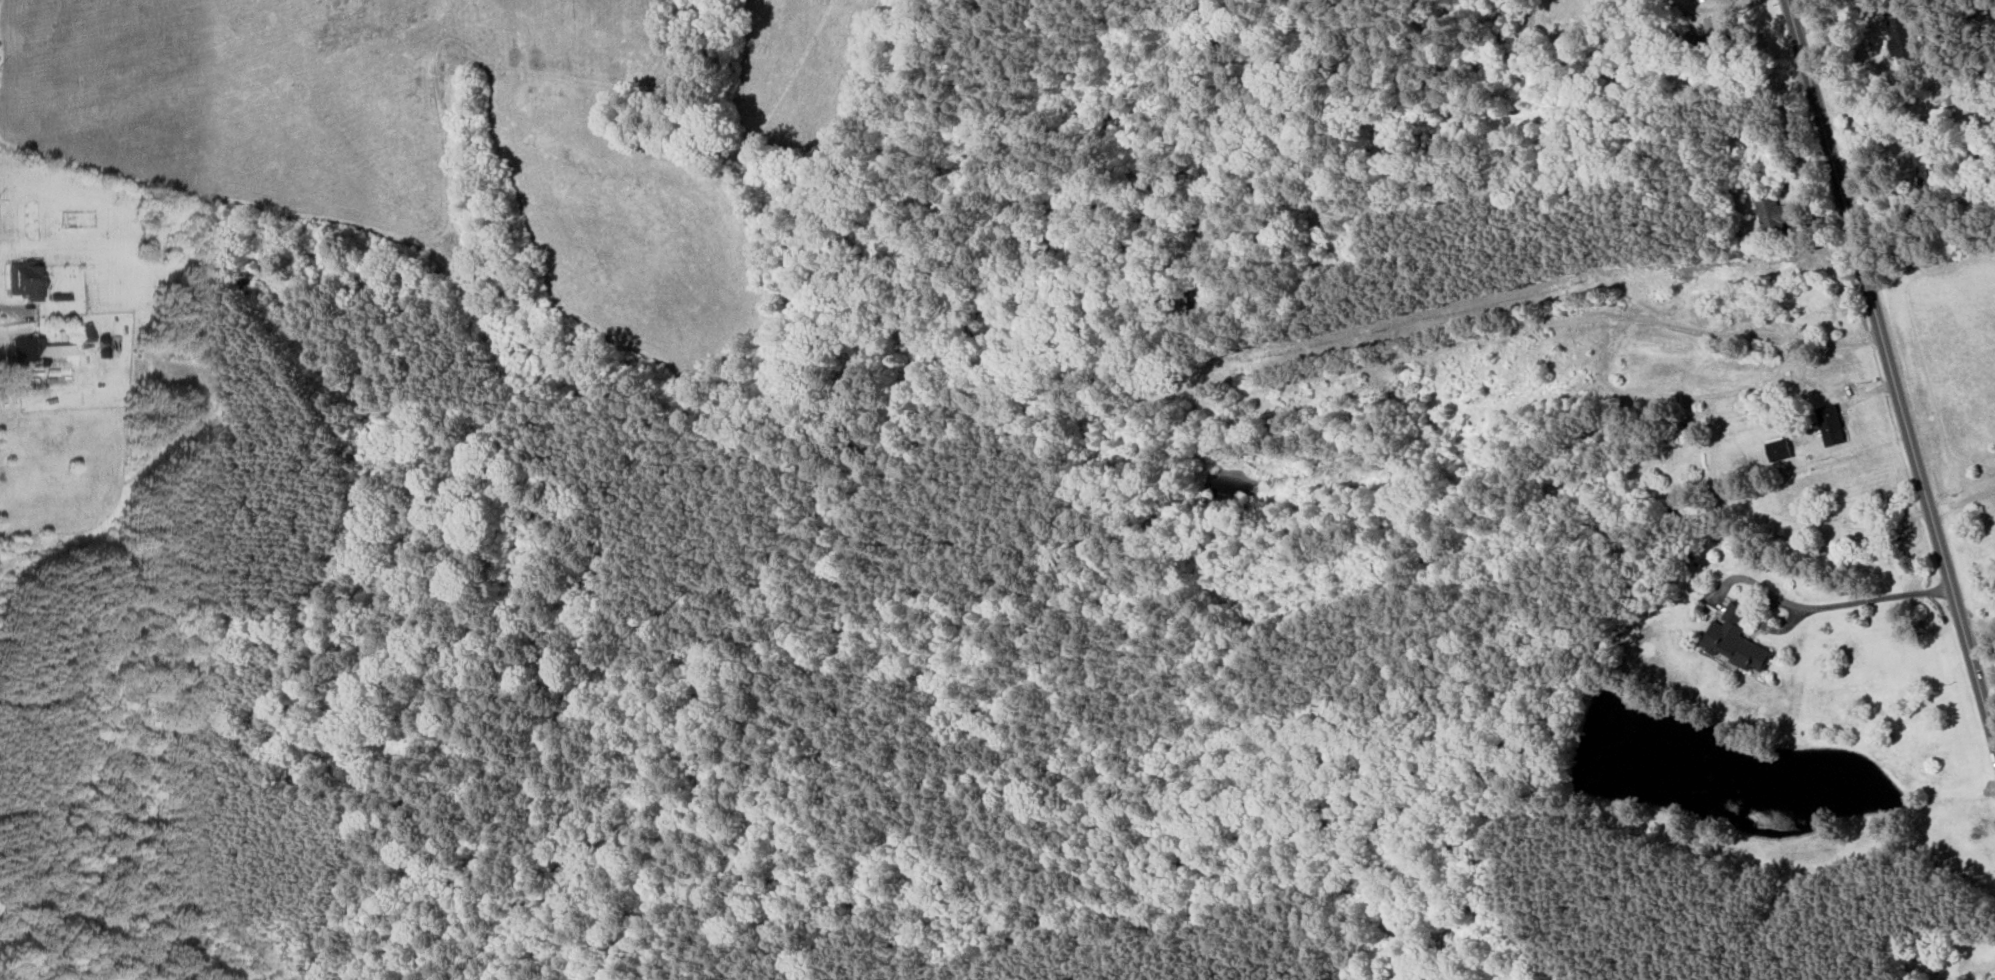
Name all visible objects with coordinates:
building: (1993, 10)
road: (1843, 17)
building: (1706, 32)
building: (1905, 39)
building: (1984, 167)
building: (1930, 176)
building: (1771, 212)
building: (26, 278)
building: (1735, 320)
building: (88, 333)
building: (31, 349)
road: (1890, 372)
building: (1831, 425)
building: (1779, 449)
road: (1962, 500)
road: (1871, 597)
road: (1979, 630)
building: (1736, 640)
road: (1988, 971)

